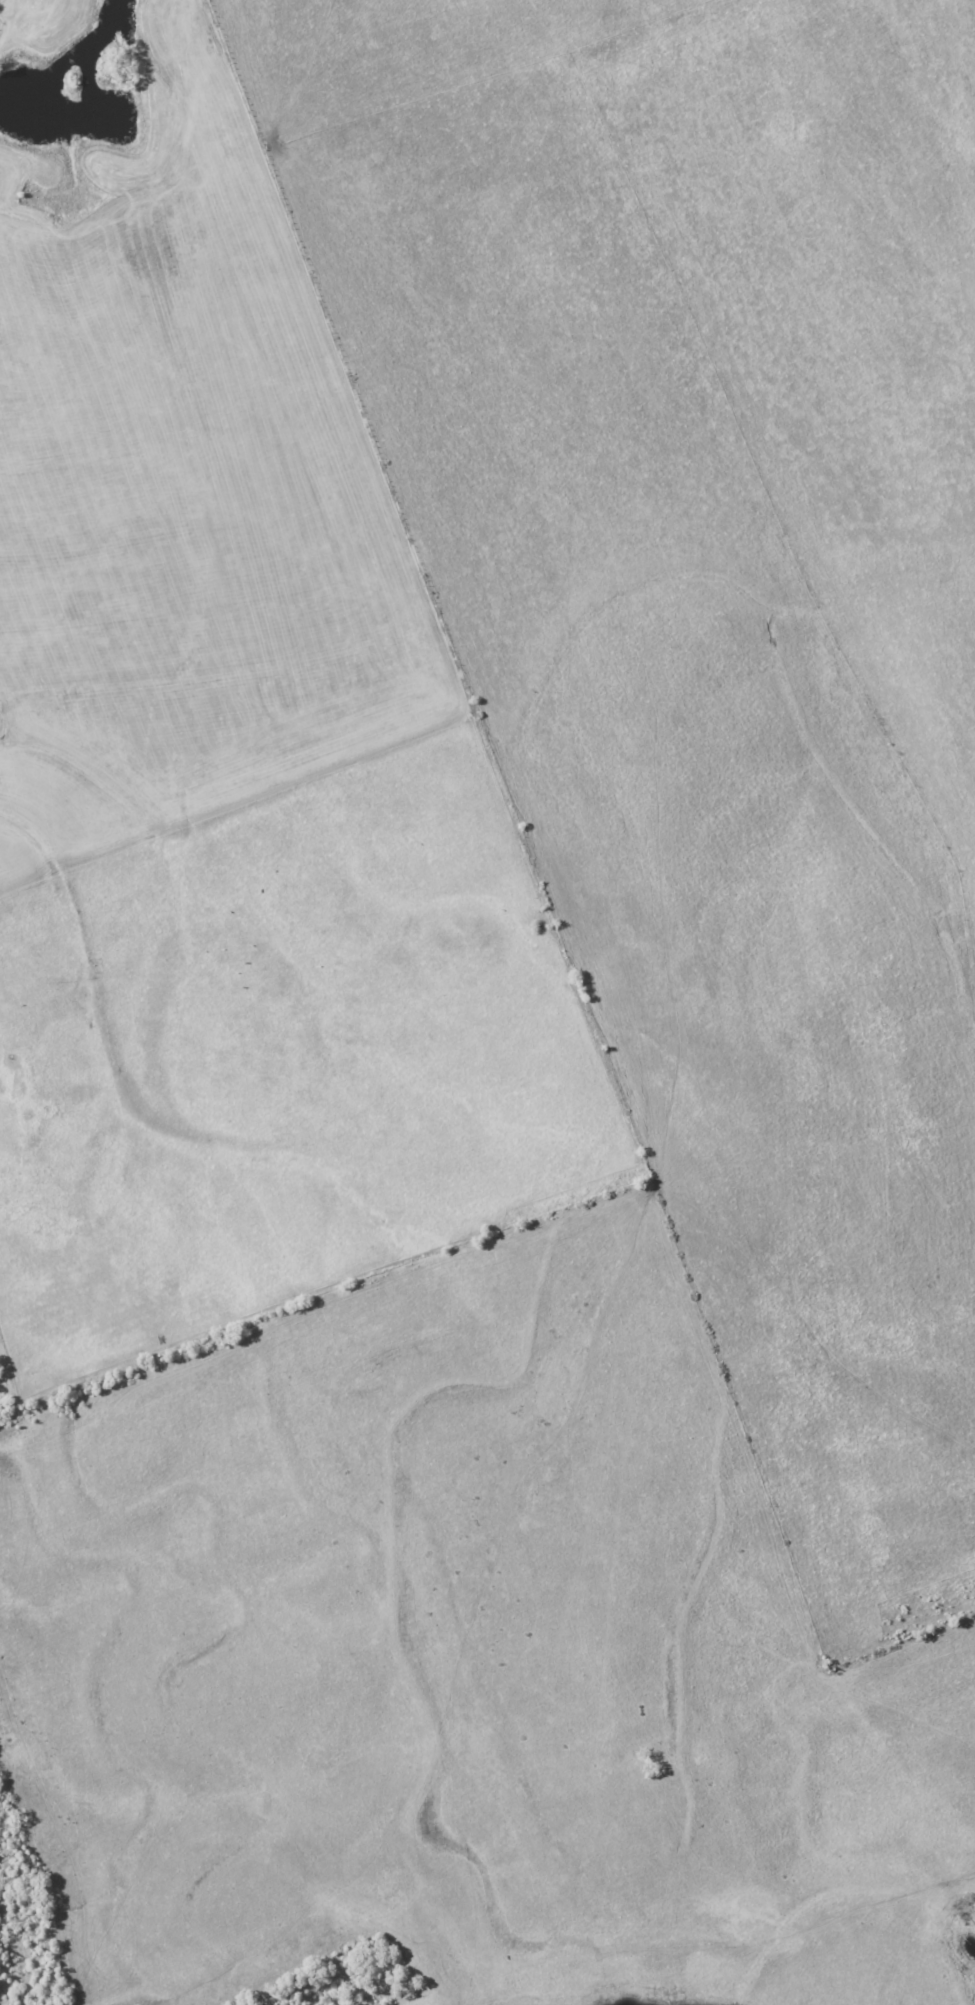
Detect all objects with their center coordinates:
road: (7, 7)

